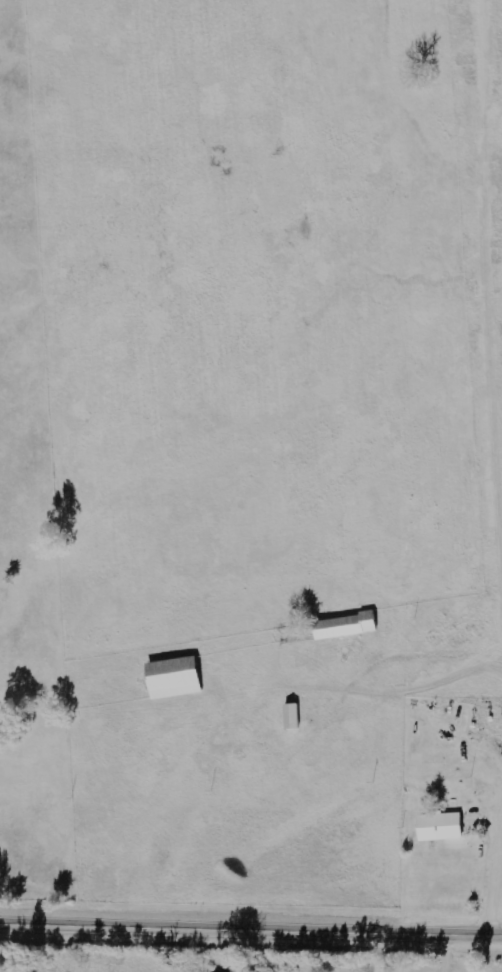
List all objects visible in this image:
building: (349, 626)
building: (178, 677)
building: (295, 716)
building: (443, 826)
road: (251, 930)

